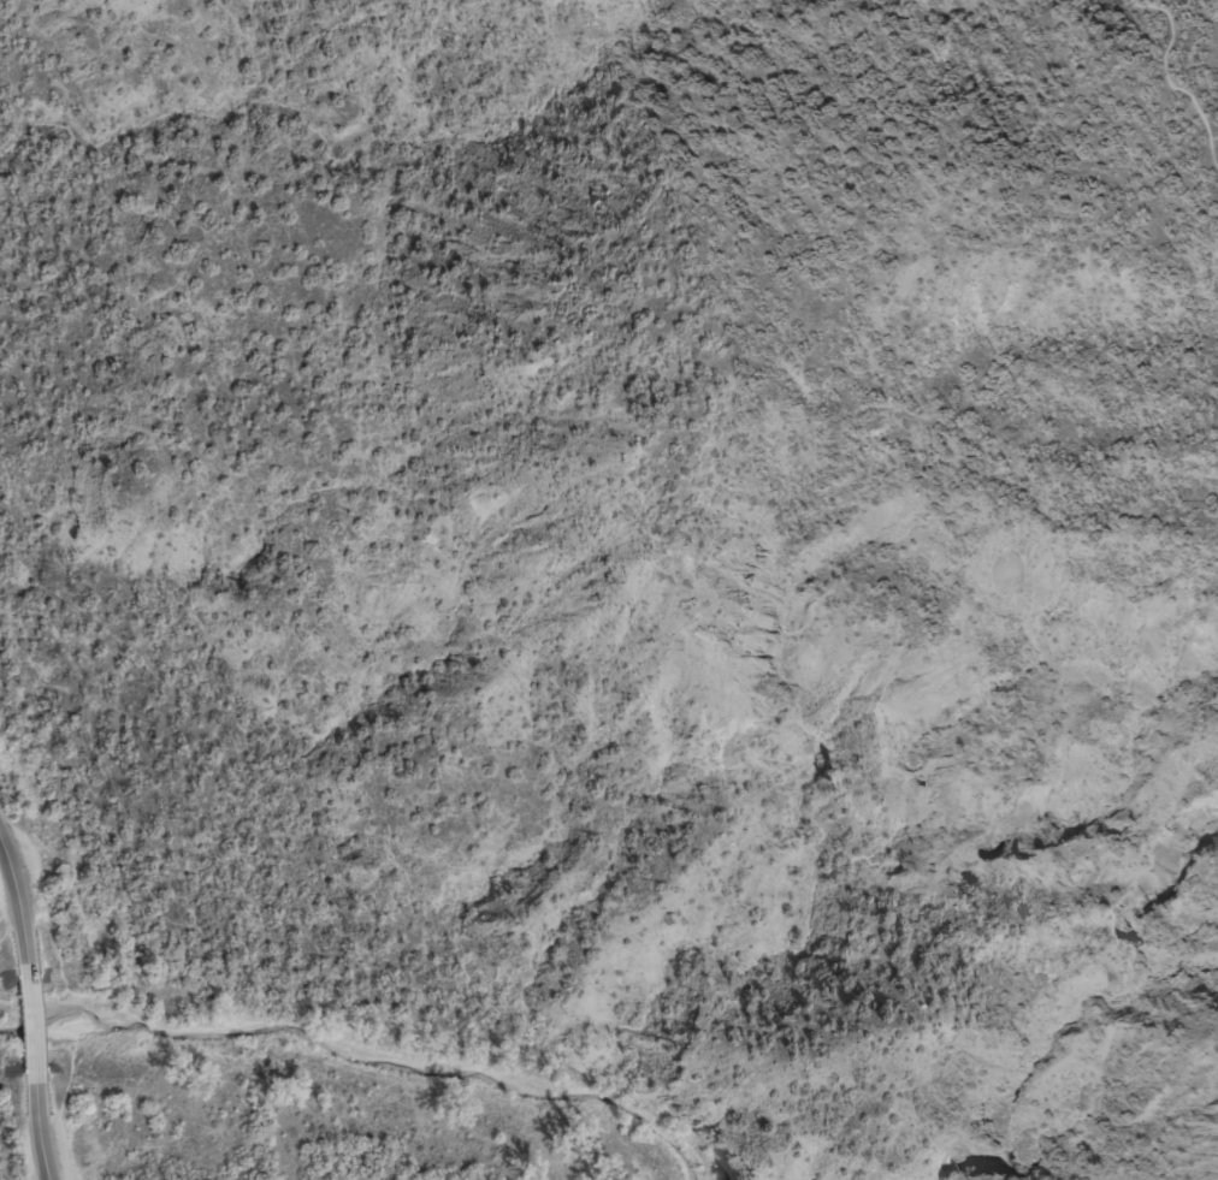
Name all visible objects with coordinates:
road: (1176, 79)
road: (19, 902)
road: (32, 1021)
river: (356, 1056)
road: (40, 1123)

